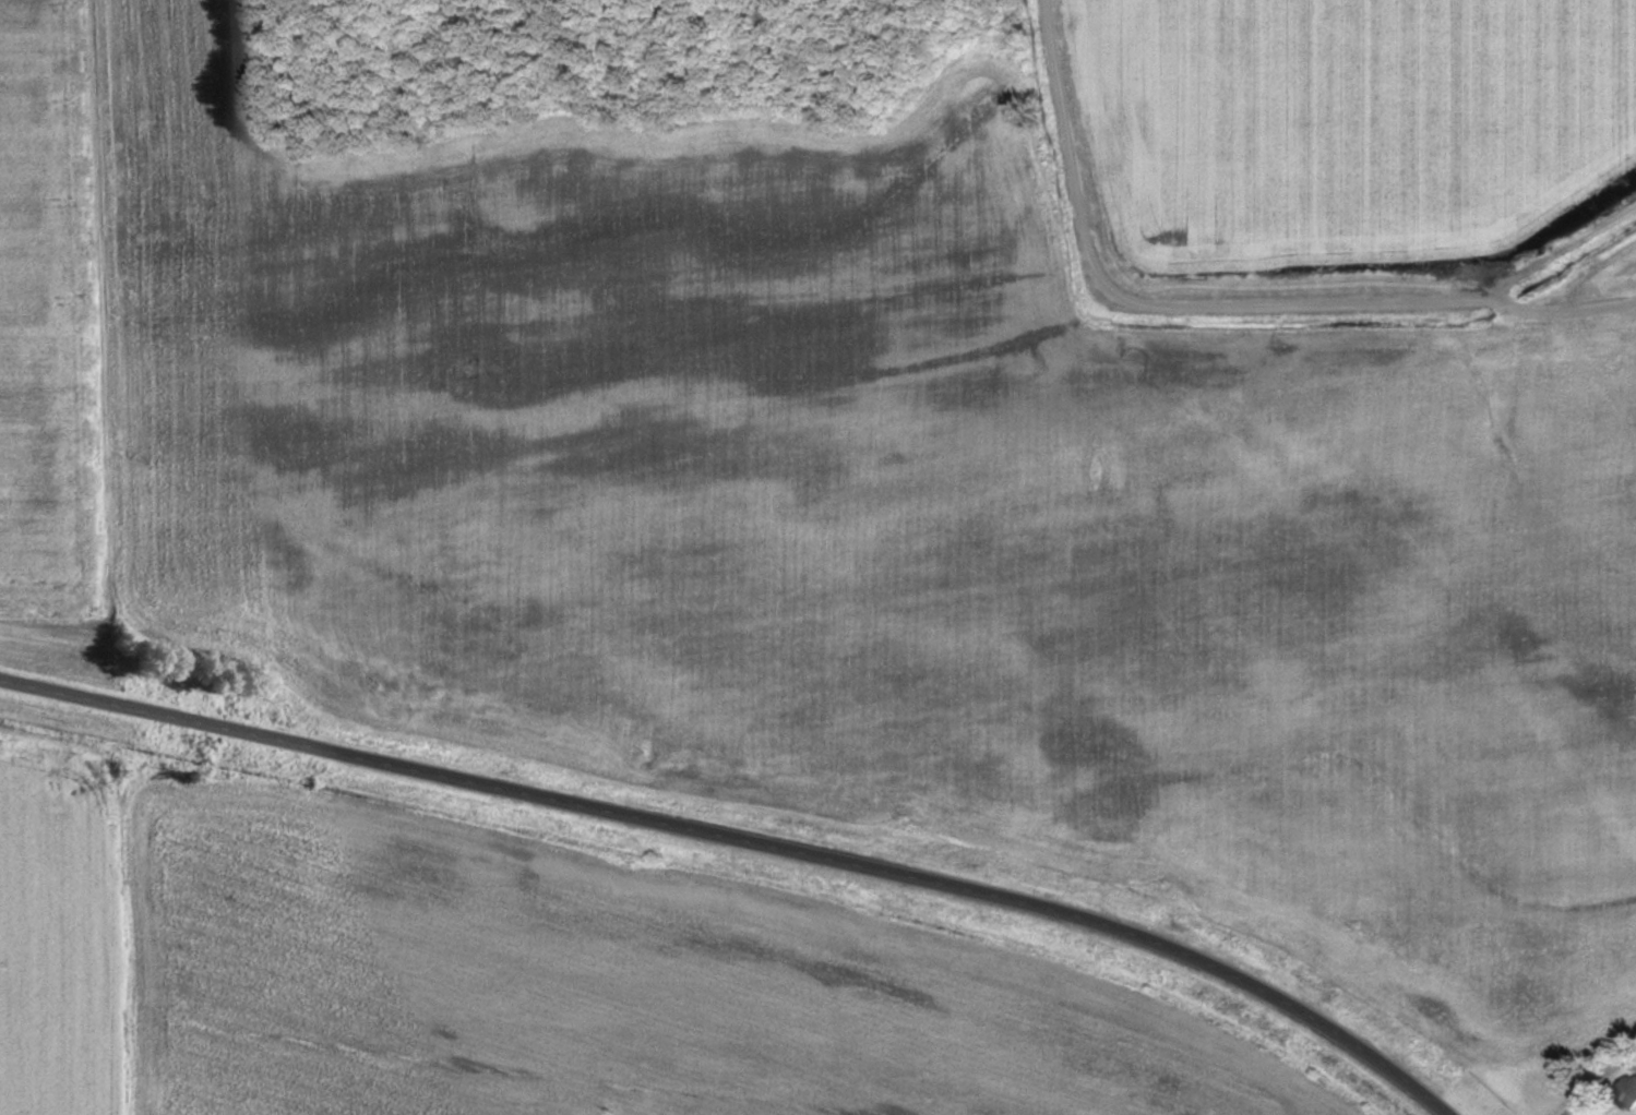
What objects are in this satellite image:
road: (749, 838)
road: (1600, 1077)
building: (1628, 1091)

